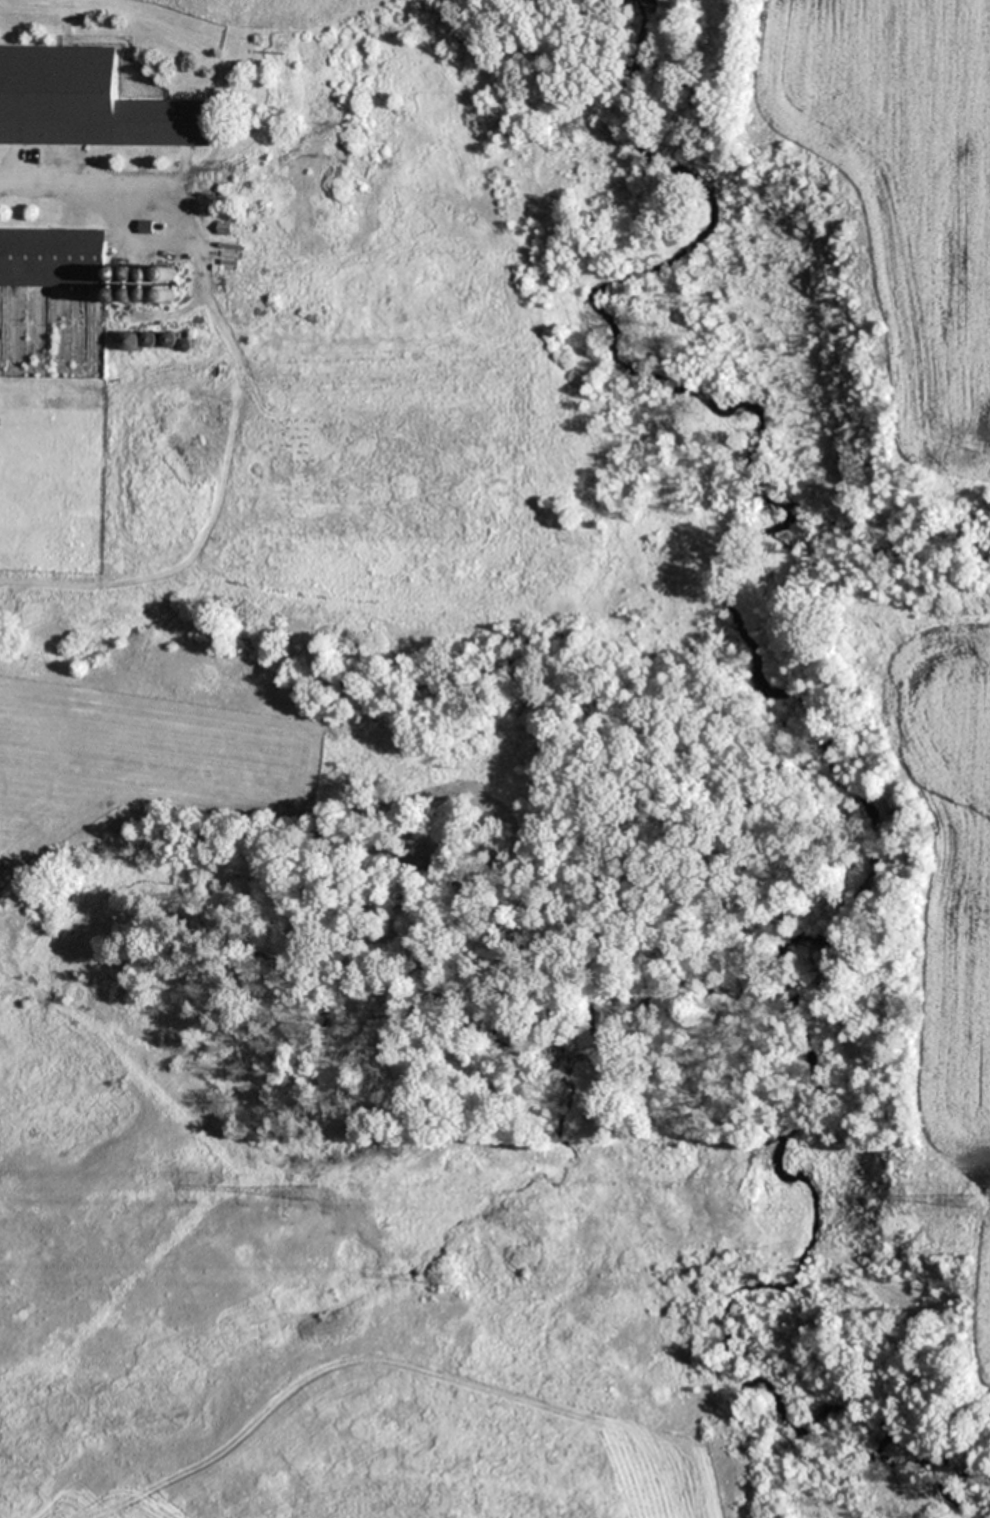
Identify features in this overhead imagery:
building: (87, 102)
road: (84, 188)
crop: (907, 199)
building: (53, 258)
crop: (302, 783)
crop: (957, 927)
power tower: (310, 1192)
power tower: (968, 1201)
power tower: (451, 1278)
power tower: (966, 1283)

